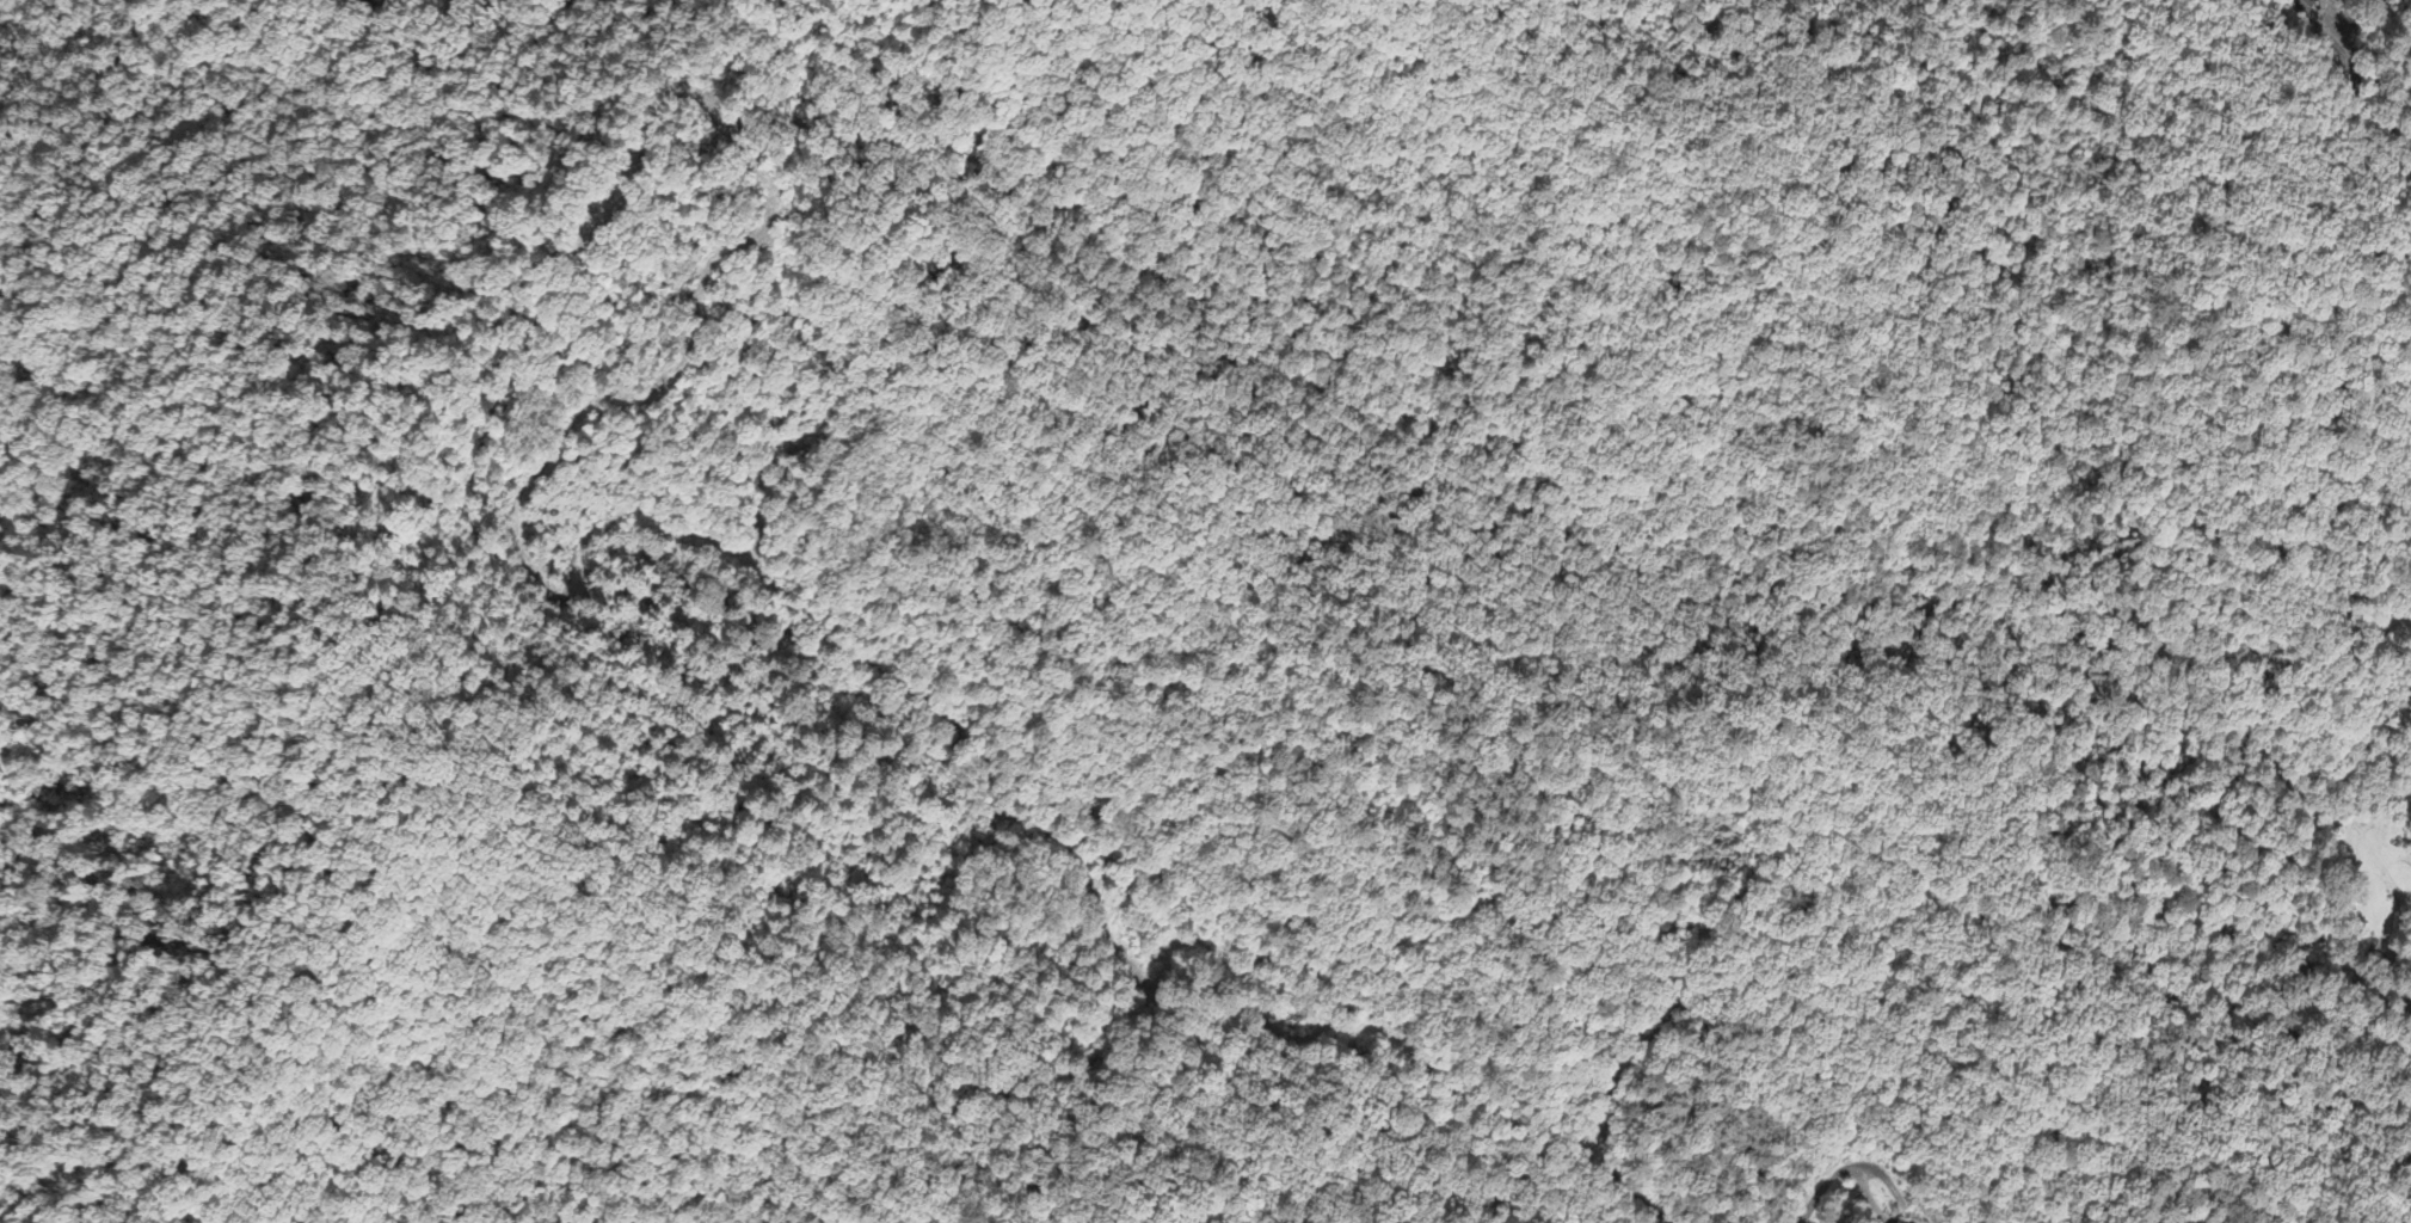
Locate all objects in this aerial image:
building: (2317, 0)

